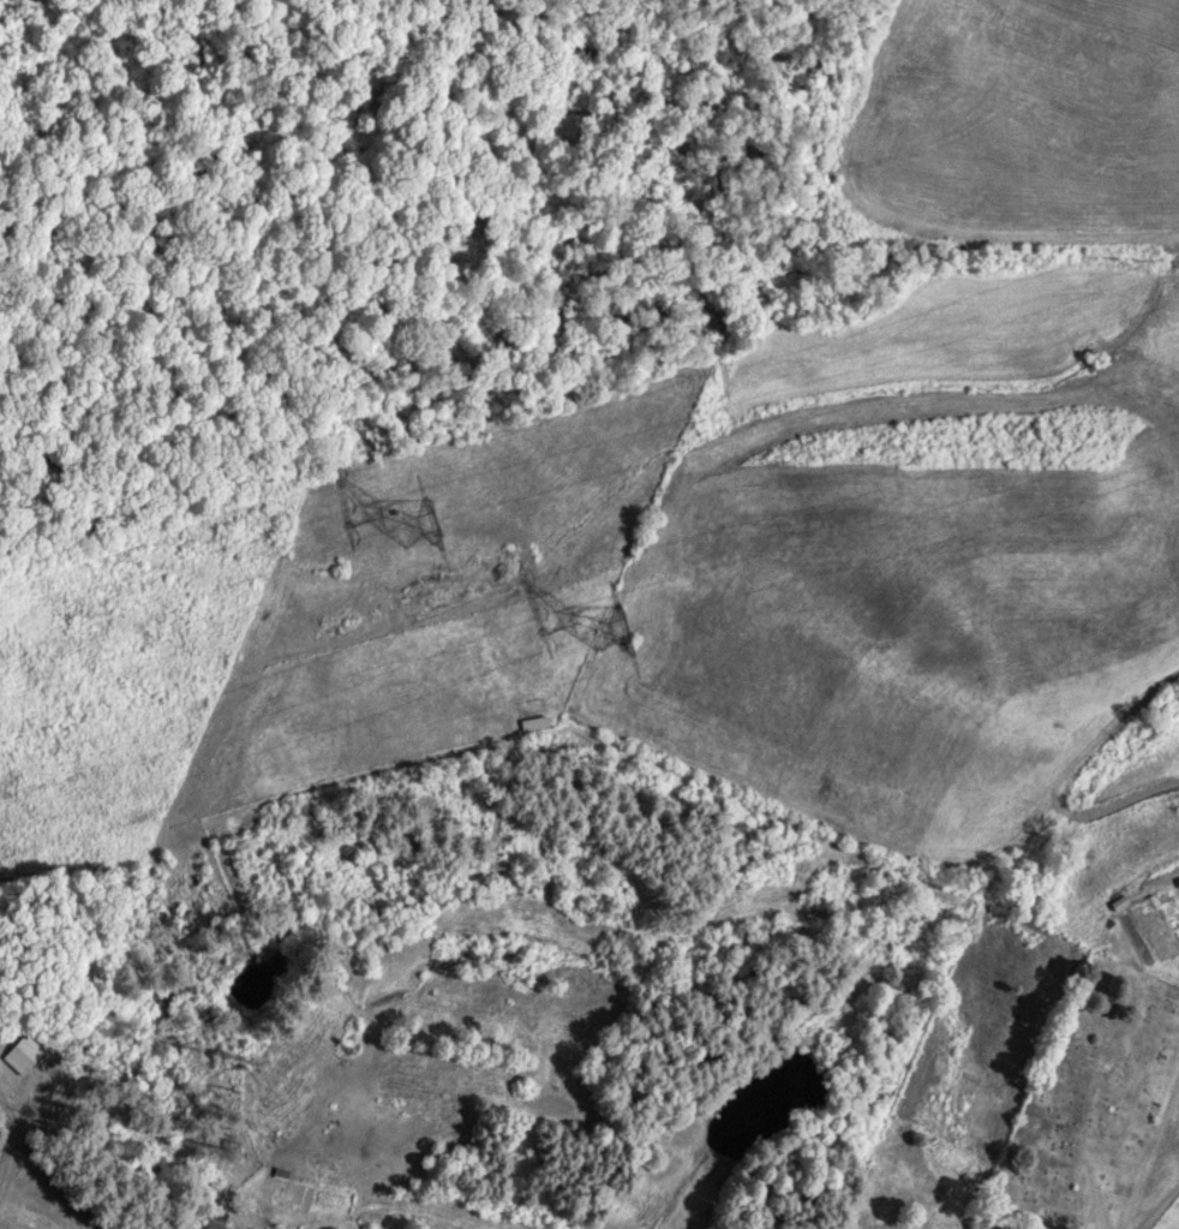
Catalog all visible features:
power tower: (441, 531)
power tower: (621, 628)
building: (19, 1055)
road: (10, 1133)
road: (47, 1165)
road: (1097, 1197)

